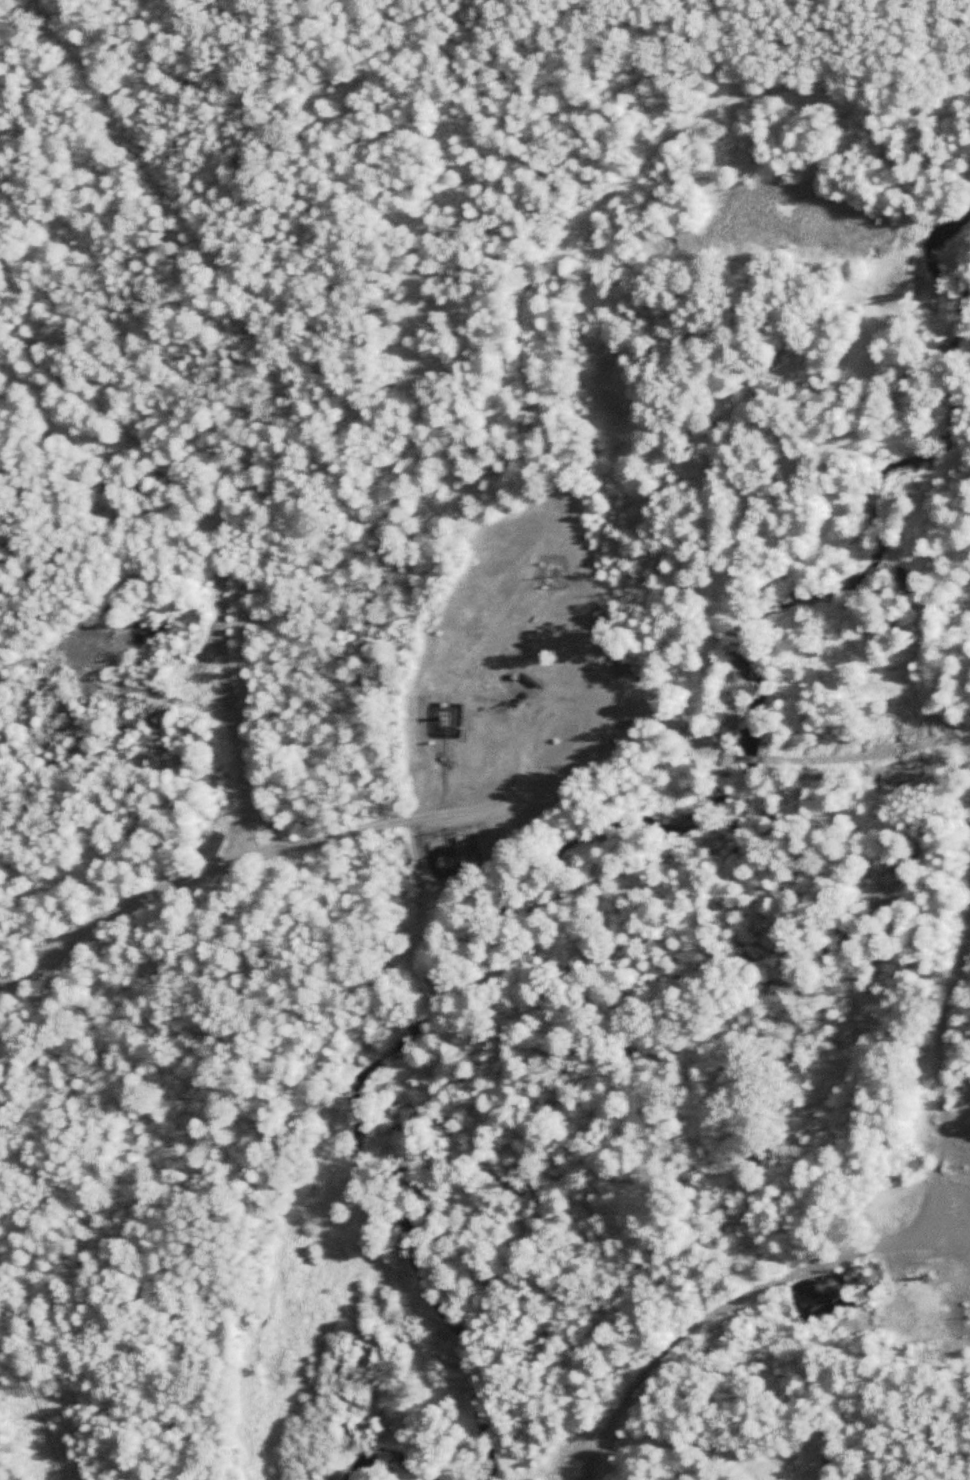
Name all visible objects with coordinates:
road: (246, 664)
road: (576, 703)
road: (858, 1249)

